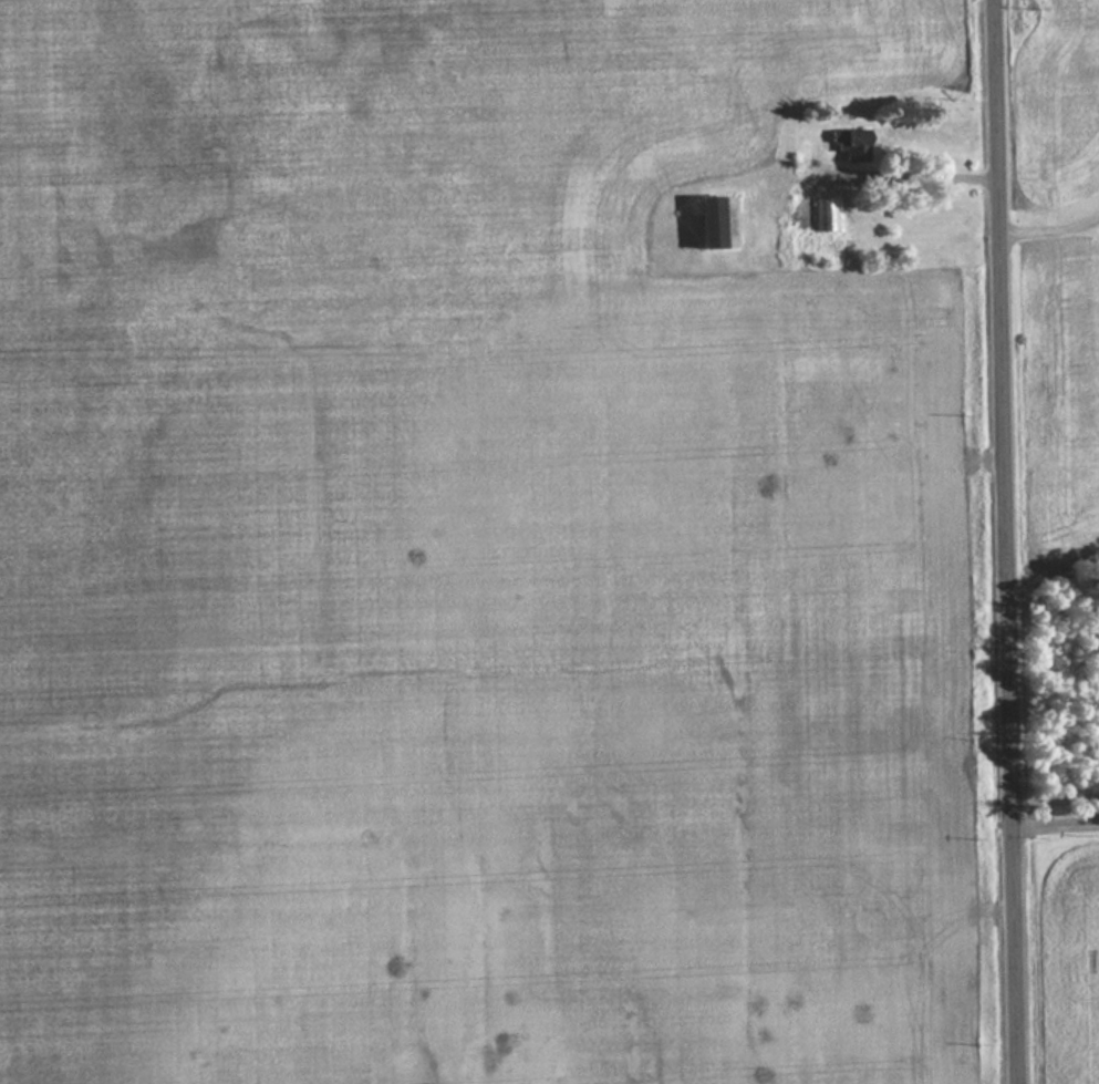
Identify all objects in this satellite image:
building: (852, 145)
building: (715, 223)
road: (1010, 541)

